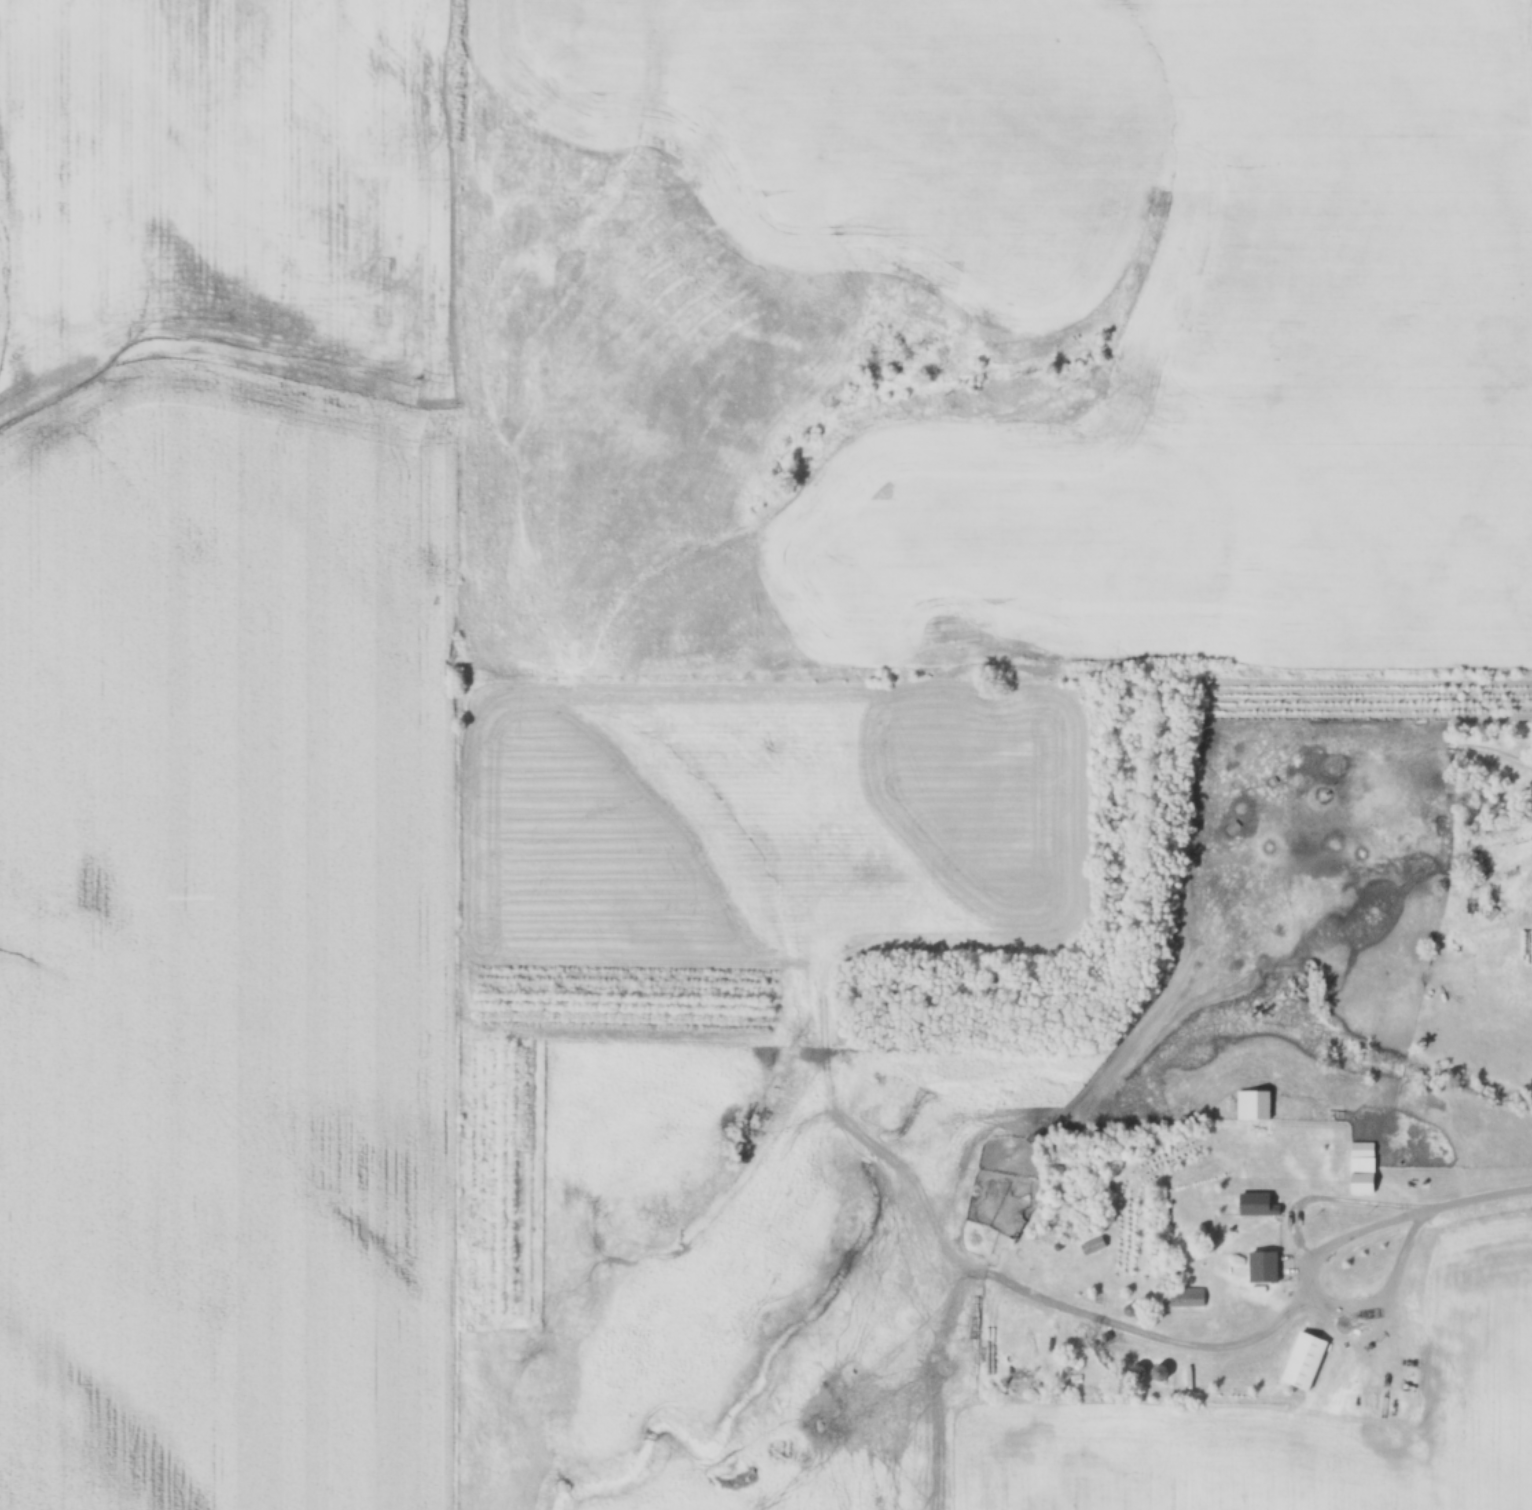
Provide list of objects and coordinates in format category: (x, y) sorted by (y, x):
building: (1252, 1105)
building: (1361, 1167)
building: (1253, 1203)
building: (1262, 1267)
building: (1182, 1298)
building: (1302, 1361)
building: (1137, 1371)

